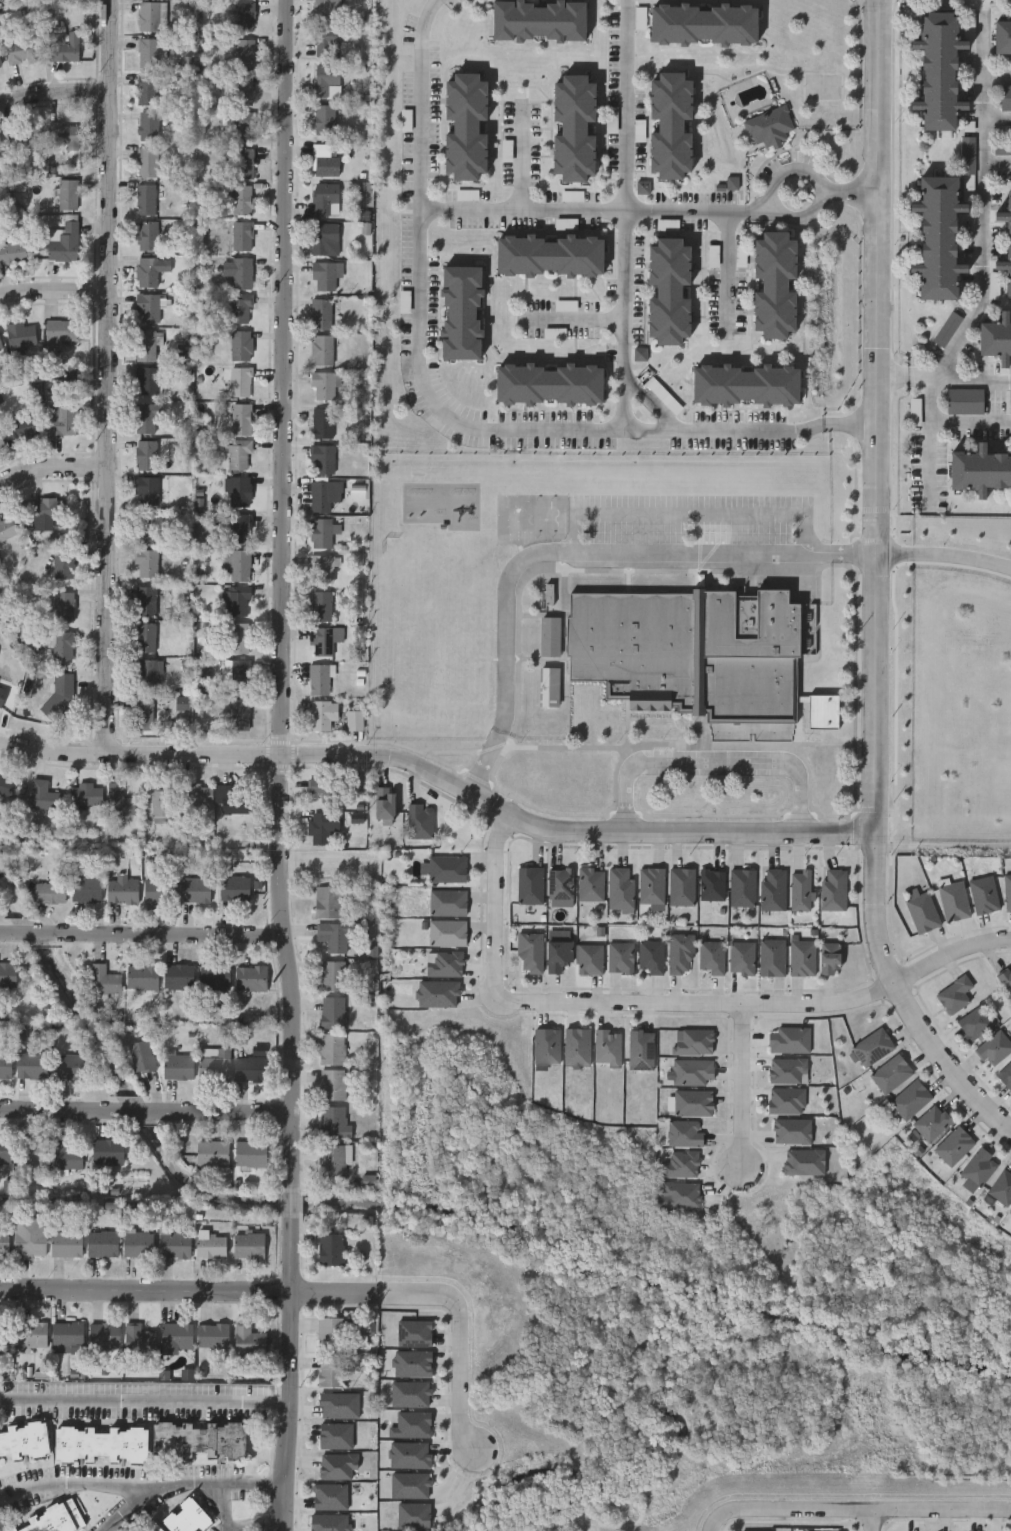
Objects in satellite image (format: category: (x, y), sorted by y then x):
building: (325, 9)
building: (148, 16)
building: (243, 16)
building: (540, 21)
building: (704, 25)
building: (1003, 37)
building: (324, 39)
building: (62, 46)
building: (21, 52)
building: (148, 53)
building: (243, 54)
building: (0, 66)
building: (940, 69)
building: (324, 78)
road: (997, 78)
building: (242, 89)
building: (146, 90)
road: (54, 93)
building: (1006, 97)
road: (997, 117)
building: (324, 120)
building: (147, 126)
building: (241, 126)
building: (671, 126)
building: (466, 127)
building: (575, 128)
building: (771, 128)
building: (62, 135)
building: (23, 138)
building: (1, 152)
road: (522, 158)
building: (323, 160)
building: (146, 162)
building: (241, 163)
road: (997, 163)
road: (819, 184)
road: (847, 189)
building: (67, 195)
building: (325, 199)
building: (144, 200)
building: (240, 200)
road: (760, 205)
road: (983, 205)
road: (583, 214)
road: (626, 215)
building: (147, 236)
building: (240, 236)
building: (324, 239)
building: (939, 239)
building: (62, 243)
building: (1009, 243)
building: (12, 253)
building: (550, 256)
building: (148, 271)
road: (728, 272)
building: (240, 274)
building: (322, 277)
building: (775, 287)
building: (669, 292)
road: (54, 304)
building: (148, 306)
building: (238, 309)
building: (462, 313)
building: (320, 315)
road: (574, 320)
building: (59, 330)
building: (949, 331)
building: (555, 332)
building: (19, 335)
building: (996, 341)
building: (0, 345)
building: (144, 346)
building: (240, 346)
building: (321, 350)
road: (890, 376)
road: (919, 377)
road: (970, 378)
road: (108, 379)
building: (146, 381)
building: (239, 382)
building: (550, 385)
building: (323, 386)
building: (746, 386)
road: (429, 399)
building: (967, 402)
road: (872, 416)
building: (146, 419)
building: (240, 420)
road: (971, 421)
building: (60, 422)
road: (847, 422)
building: (322, 423)
building: (21, 428)
road: (931, 438)
building: (1, 444)
building: (237, 454)
building: (144, 455)
building: (321, 460)
road: (52, 469)
building: (980, 473)
building: (145, 490)
building: (239, 492)
building: (319, 496)
building: (47, 507)
road: (692, 511)
building: (6, 527)
building: (143, 528)
building: (238, 528)
parking lot: (688, 531)
building: (320, 533)
road: (891, 552)
road: (573, 555)
road: (962, 556)
building: (63, 563)
building: (145, 563)
building: (238, 565)
building: (321, 569)
road: (281, 592)
building: (144, 601)
building: (236, 601)
building: (320, 606)
building: (62, 607)
building: (465, 621)
building: (549, 635)
building: (144, 638)
building: (238, 638)
building: (320, 642)
building: (61, 644)
building: (465, 648)
building: (698, 656)
building: (465, 672)
building: (144, 673)
building: (237, 674)
building: (318, 679)
building: (548, 685)
building: (1, 692)
building: (465, 699)
building: (141, 714)
building: (237, 714)
building: (322, 714)
building: (353, 719)
building: (465, 725)
road: (138, 759)
road: (378, 760)
road: (713, 762)
building: (3, 784)
building: (325, 789)
building: (83, 793)
building: (194, 793)
building: (41, 795)
building: (116, 799)
building: (156, 799)
building: (230, 801)
building: (383, 801)
building: (419, 820)
building: (318, 827)
road: (665, 832)
building: (447, 868)
building: (590, 883)
building: (529, 884)
building: (711, 884)
building: (560, 885)
building: (651, 885)
building: (682, 885)
building: (742, 886)
building: (232, 887)
building: (84, 889)
building: (194, 889)
building: (620, 889)
building: (773, 889)
building: (833, 889)
building: (120, 890)
building: (156, 890)
building: (800, 890)
building: (47, 893)
building: (984, 894)
building: (327, 900)
building: (447, 901)
building: (954, 901)
building: (922, 912)
building: (447, 932)
building: (334, 934)
road: (168, 936)
road: (5, 937)
road: (31, 937)
building: (529, 952)
building: (681, 953)
building: (557, 954)
building: (651, 955)
building: (620, 956)
building: (712, 956)
building: (771, 956)
building: (741, 957)
building: (802, 957)
building: (589, 958)
building: (829, 958)
building: (7, 975)
building: (213, 975)
building: (332, 975)
building: (140, 976)
building: (176, 976)
building: (249, 977)
building: (102, 979)
building: (954, 993)
road: (901, 1000)
road: (666, 1005)
building: (332, 1011)
building: (976, 1021)
building: (788, 1038)
building: (545, 1044)
building: (872, 1045)
building: (606, 1047)
building: (994, 1047)
building: (331, 1048)
building: (140, 1055)
building: (30, 1065)
building: (65, 1065)
building: (214, 1065)
building: (4, 1066)
building: (176, 1066)
building: (248, 1068)
building: (692, 1071)
building: (890, 1072)
building: (331, 1083)
road: (744, 1090)
building: (909, 1098)
building: (692, 1102)
road: (53, 1114)
road: (133, 1115)
road: (225, 1115)
building: (333, 1121)
building: (931, 1122)
building: (684, 1132)
building: (953, 1145)
building: (29, 1152)
building: (106, 1152)
building: (210, 1153)
building: (248, 1153)
building: (64, 1155)
building: (331, 1159)
building: (976, 1169)
building: (1001, 1187)
road: (290, 1203)
building: (3, 1240)
building: (63, 1240)
building: (27, 1242)
building: (100, 1243)
building: (136, 1244)
building: (172, 1244)
building: (208, 1245)
building: (246, 1245)
building: (329, 1249)
road: (305, 1294)
building: (329, 1332)
building: (29, 1334)
building: (174, 1335)
building: (210, 1335)
building: (65, 1336)
building: (102, 1336)
building: (3, 1337)
building: (138, 1339)
building: (247, 1340)
building: (329, 1370)
road: (287, 1377)
road: (143, 1393)
building: (199, 1438)
building: (24, 1439)
building: (101, 1443)
building: (336, 1465)
road: (141, 1486)
road: (128, 1508)
road: (865, 1509)
building: (187, 1517)
building: (53, 1519)
road: (872, 1520)
road: (714, 1521)
building: (150, 1526)
road: (261, 1529)

